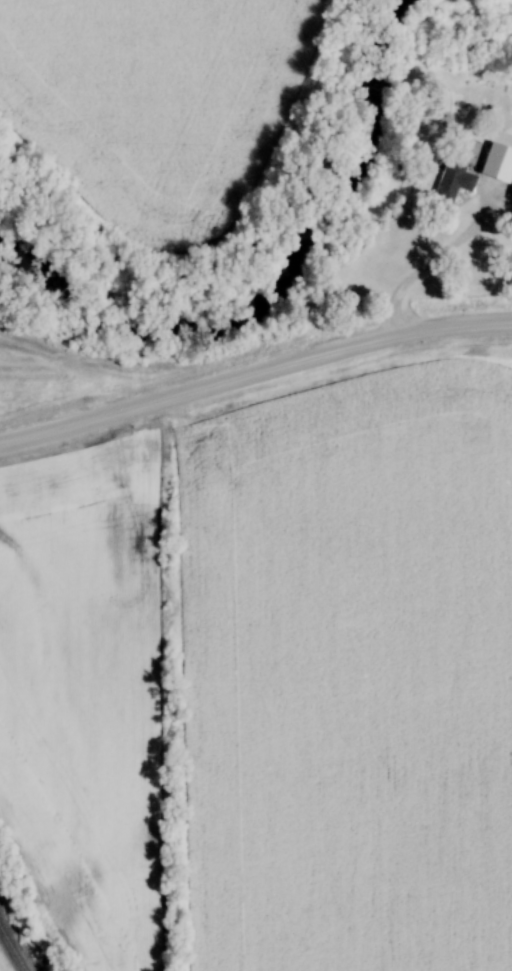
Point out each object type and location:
building: (448, 180)
road: (428, 265)
river: (286, 291)
road: (254, 371)
railway: (12, 949)

